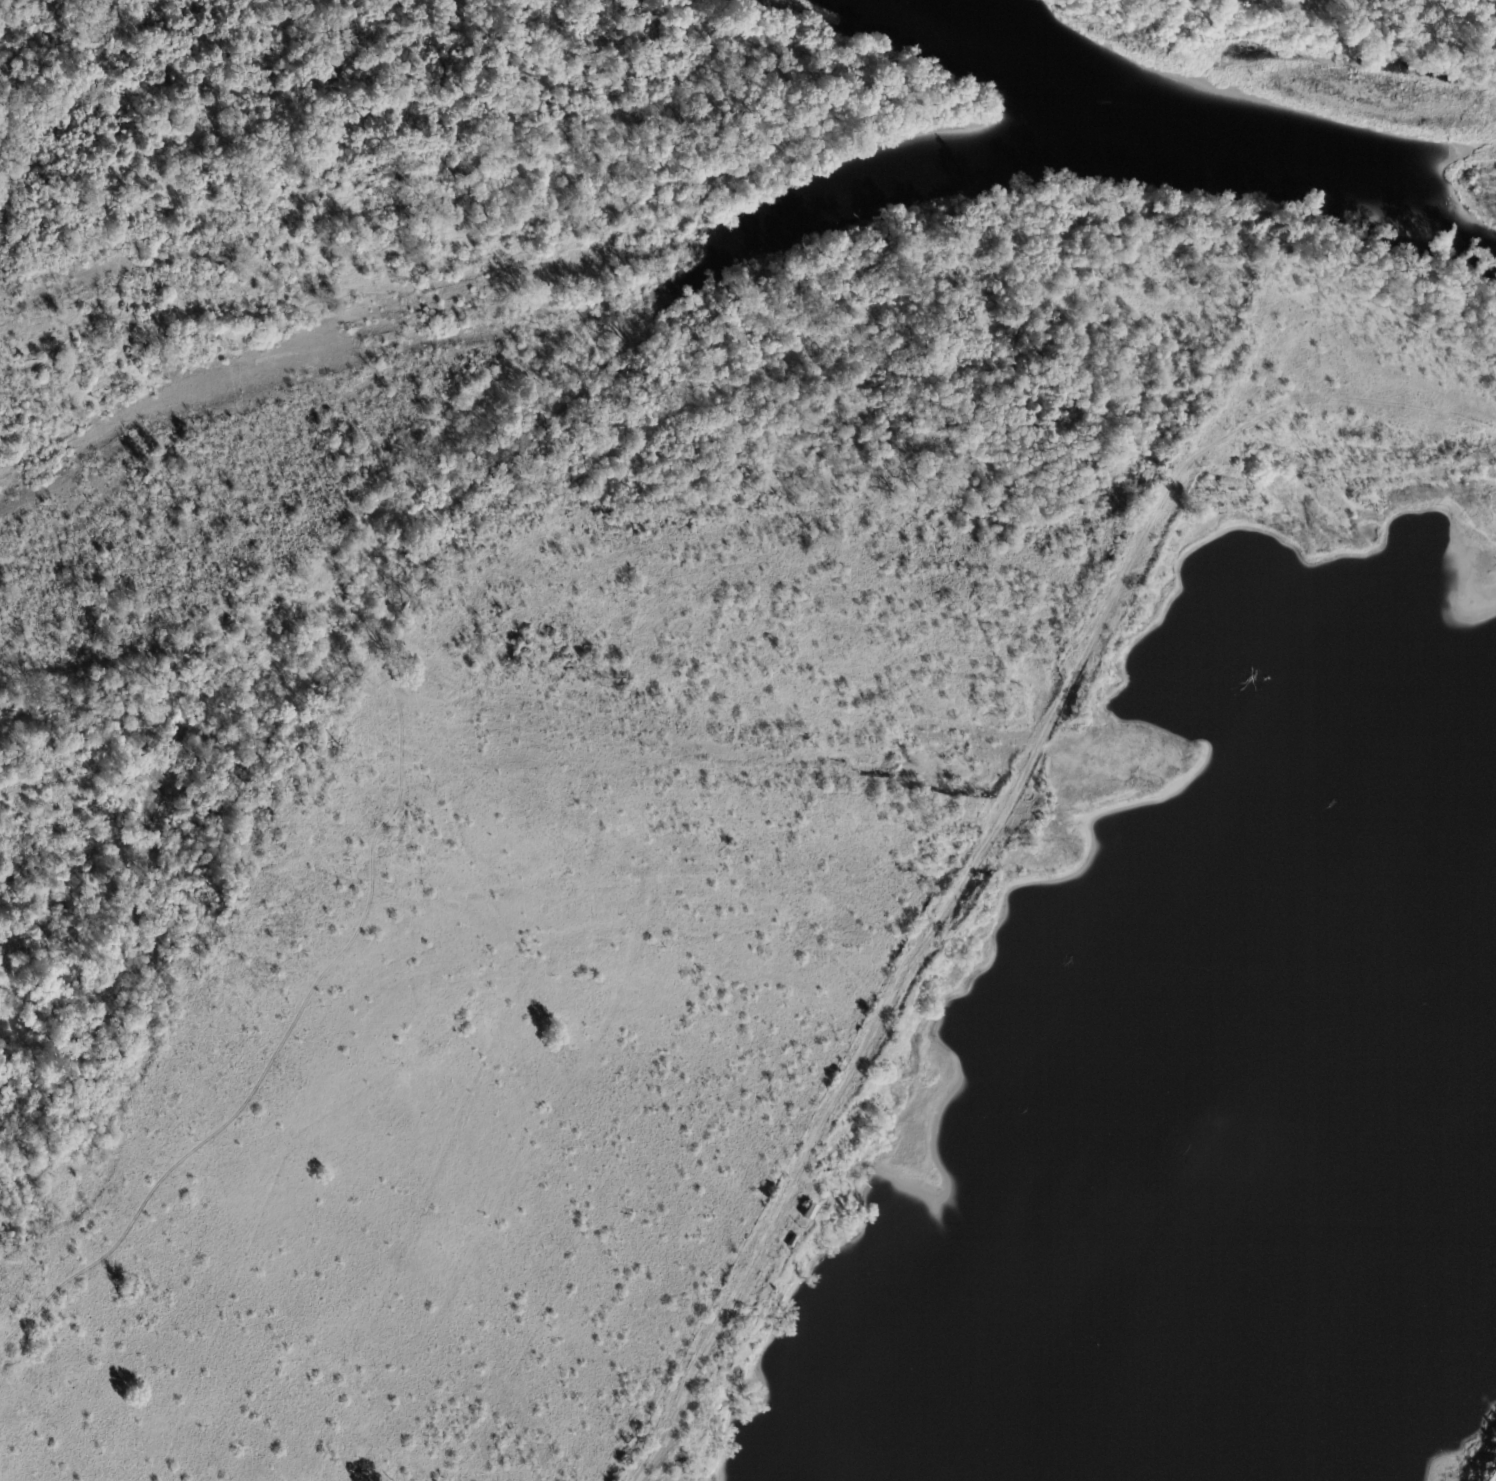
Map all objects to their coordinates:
river: (1208, 95)
building: (808, 1211)

